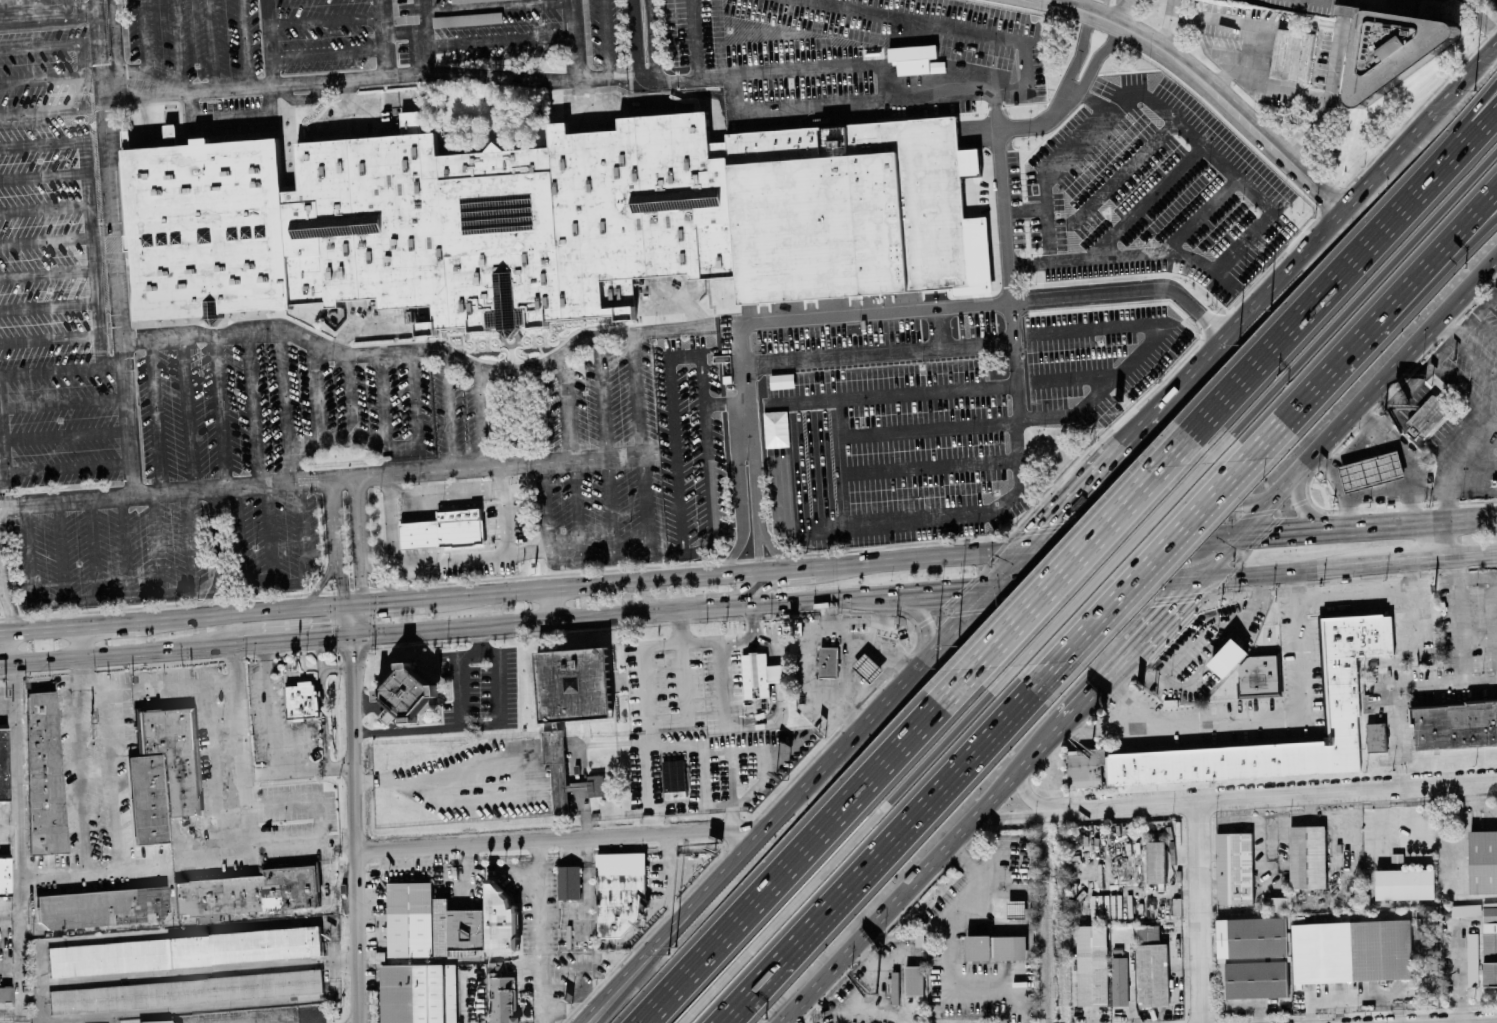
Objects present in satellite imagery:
building: (474, 0)
road: (67, 6)
road: (490, 6)
road: (37, 7)
road: (2, 9)
road: (974, 9)
road: (49, 14)
road: (1479, 17)
building: (467, 19)
road: (325, 20)
road: (1167, 28)
road: (403, 31)
road: (842, 34)
road: (423, 35)
road: (809, 35)
road: (778, 36)
road: (101, 37)
road: (116, 37)
road: (145, 37)
road: (383, 37)
road: (744, 37)
road: (872, 37)
road: (712, 38)
road: (574, 39)
road: (635, 39)
road: (678, 39)
road: (652, 40)
road: (270, 41)
road: (499, 41)
road: (906, 41)
road: (176, 42)
road: (245, 43)
road: (55, 44)
road: (212, 44)
road: (942, 47)
building: (1396, 49)
road: (327, 53)
road: (973, 54)
building: (1292, 55)
road: (1243, 56)
building: (913, 58)
road: (1028, 59)
road: (153, 75)
road: (1227, 76)
road: (39, 77)
road: (1466, 78)
road: (646, 79)
road: (111, 84)
road: (1211, 89)
road: (1330, 96)
road: (808, 107)
road: (56, 110)
road: (232, 116)
road: (43, 175)
building: (857, 207)
road: (45, 208)
road: (1487, 211)
road: (1487, 212)
road: (999, 222)
building: (424, 223)
road: (46, 240)
road: (93, 245)
road: (1302, 255)
road: (1353, 264)
road: (1495, 267)
road: (48, 273)
road: (119, 294)
road: (1365, 295)
road: (1465, 296)
road: (49, 305)
road: (1486, 327)
road: (935, 328)
road: (672, 329)
road: (1448, 330)
road: (1367, 338)
road: (874, 353)
road: (1441, 355)
road: (1475, 362)
road: (62, 364)
road: (741, 387)
road: (705, 389)
road: (284, 392)
road: (670, 392)
road: (905, 393)
road: (318, 395)
road: (637, 395)
road: (603, 397)
road: (351, 398)
road: (414, 399)
road: (63, 401)
road: (381, 401)
road: (807, 402)
road: (254, 407)
road: (565, 408)
road: (221, 409)
road: (448, 411)
road: (189, 412)
building: (1416, 412)
road: (157, 414)
road: (1080, 416)
road: (480, 418)
road: (1144, 426)
road: (65, 433)
road: (1338, 435)
road: (1489, 442)
road: (326, 443)
road: (402, 448)
road: (1355, 449)
road: (1407, 459)
road: (1050, 461)
road: (1454, 463)
road: (507, 466)
road: (34, 470)
road: (1009, 470)
building: (1371, 471)
road: (754, 487)
road: (885, 487)
road: (1344, 489)
road: (783, 490)
road: (849, 491)
road: (1401, 492)
road: (1073, 502)
road: (1178, 503)
road: (677, 504)
road: (645, 507)
road: (546, 510)
road: (610, 510)
road: (1306, 511)
road: (574, 512)
road: (740, 518)
traffic signals: (1053, 522)
road: (1466, 523)
road: (1384, 527)
building: (445, 530)
road: (266, 533)
road: (901, 533)
road: (1286, 533)
traffic signals: (1267, 535)
road: (359, 541)
road: (1132, 542)
road: (1436, 542)
road: (157, 543)
road: (126, 545)
road: (1091, 545)
road: (92, 547)
road: (757, 548)
traffic signals: (1056, 548)
road: (529, 549)
road: (775, 549)
road: (60, 550)
road: (1124, 551)
road: (219, 553)
road: (676, 553)
road: (1219, 557)
road: (1466, 557)
road: (453, 558)
road: (913, 559)
road: (1161, 560)
road: (1399, 563)
road: (340, 566)
road: (779, 570)
road: (1280, 573)
road: (799, 579)
road: (1477, 579)
traffic signals: (1168, 581)
road: (277, 584)
road: (590, 585)
road: (985, 591)
traffic signals: (950, 595)
road: (111, 598)
road: (706, 598)
road: (6, 600)
road: (1253, 601)
road: (394, 602)
traffic signals: (1178, 602)
traffic signals: (364, 605)
traffic signals: (344, 606)
road: (551, 607)
road: (772, 608)
road: (252, 613)
road: (919, 613)
road: (1495, 613)
road: (1164, 616)
road: (879, 620)
road: (1460, 620)
road: (1052, 622)
road: (110, 624)
road: (754, 625)
road: (362, 628)
road: (39, 629)
road: (837, 629)
traffic signals: (362, 632)
traffic signals: (345, 634)
road: (479, 634)
road: (291, 638)
road: (711, 640)
road: (79, 642)
road: (481, 647)
road: (126, 652)
road: (853, 655)
road: (0, 656)
building: (1228, 657)
building: (828, 662)
road: (8, 663)
road: (456, 663)
road: (0, 664)
building: (868, 667)
road: (336, 668)
road: (684, 668)
road: (1113, 669)
road: (83, 673)
building: (755, 674)
building: (1259, 677)
road: (724, 683)
road: (155, 684)
building: (574, 684)
road: (1298, 687)
road: (1393, 688)
building: (408, 692)
road: (1129, 698)
building: (1340, 699)
building: (302, 700)
road: (322, 701)
road: (779, 702)
road: (8, 703)
road: (1079, 705)
road: (269, 706)
road: (666, 722)
building: (1454, 725)
road: (854, 734)
building: (1376, 737)
road: (646, 738)
road: (242, 745)
road: (725, 745)
road: (304, 748)
building: (3, 764)
road: (208, 766)
building: (556, 767)
building: (163, 769)
road: (299, 770)
building: (43, 771)
road: (500, 771)
road: (692, 771)
building: (674, 775)
road: (114, 777)
road: (80, 780)
building: (596, 785)
road: (1023, 793)
road: (1269, 795)
road: (282, 803)
road: (731, 815)
road: (1006, 816)
road: (318, 822)
road: (10, 830)
road: (739, 830)
road: (355, 836)
road: (20, 837)
road: (537, 838)
road: (848, 845)
road: (894, 845)
road: (270, 847)
road: (807, 848)
building: (1307, 856)
building: (1155, 861)
building: (1483, 861)
building: (1234, 867)
road: (94, 869)
building: (4, 873)
road: (920, 873)
building: (569, 882)
building: (1405, 883)
building: (249, 890)
building: (619, 891)
building: (1278, 903)
building: (102, 906)
building: (1016, 908)
building: (1466, 909)
road: (1202, 911)
road: (10, 914)
building: (501, 918)
building: (410, 919)
road: (187, 920)
road: (669, 928)
road: (679, 928)
building: (457, 929)
road: (539, 931)
road: (186, 933)
building: (1147, 934)
building: (1490, 942)
building: (996, 946)
building: (185, 950)
building: (1352, 950)
road: (946, 953)
building: (1254, 955)
building: (1473, 959)
building: (1092, 964)
road: (10, 967)
building: (495, 967)
road: (198, 972)
building: (1153, 974)
building: (914, 979)
building: (1119, 981)
road: (41, 983)
building: (184, 990)
road: (865, 991)
building: (419, 994)
building: (502, 999)
building: (6, 1000)
road: (205, 1008)
road: (794, 1016)
road: (22, 1018)
road: (114, 1019)
road: (78, 1021)
road: (41, 1022)

